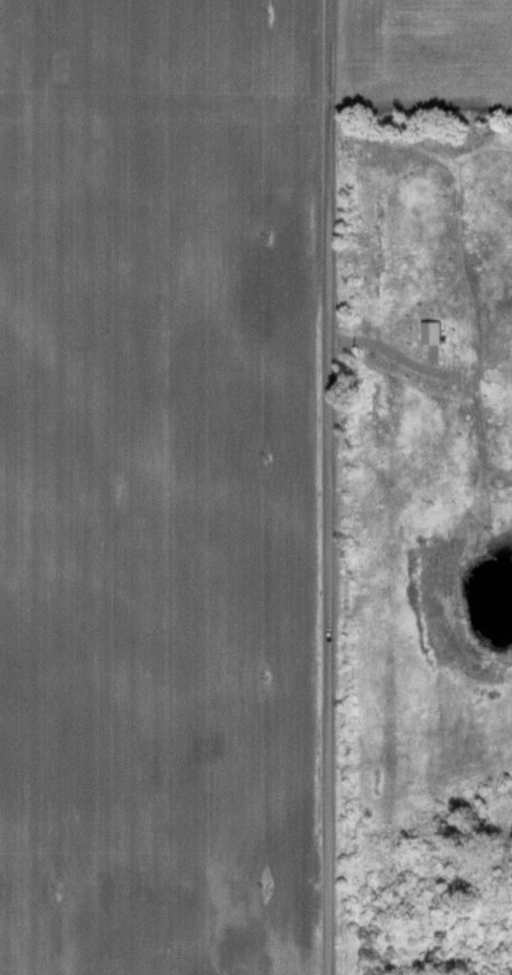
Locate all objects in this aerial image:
road: (327, 487)

